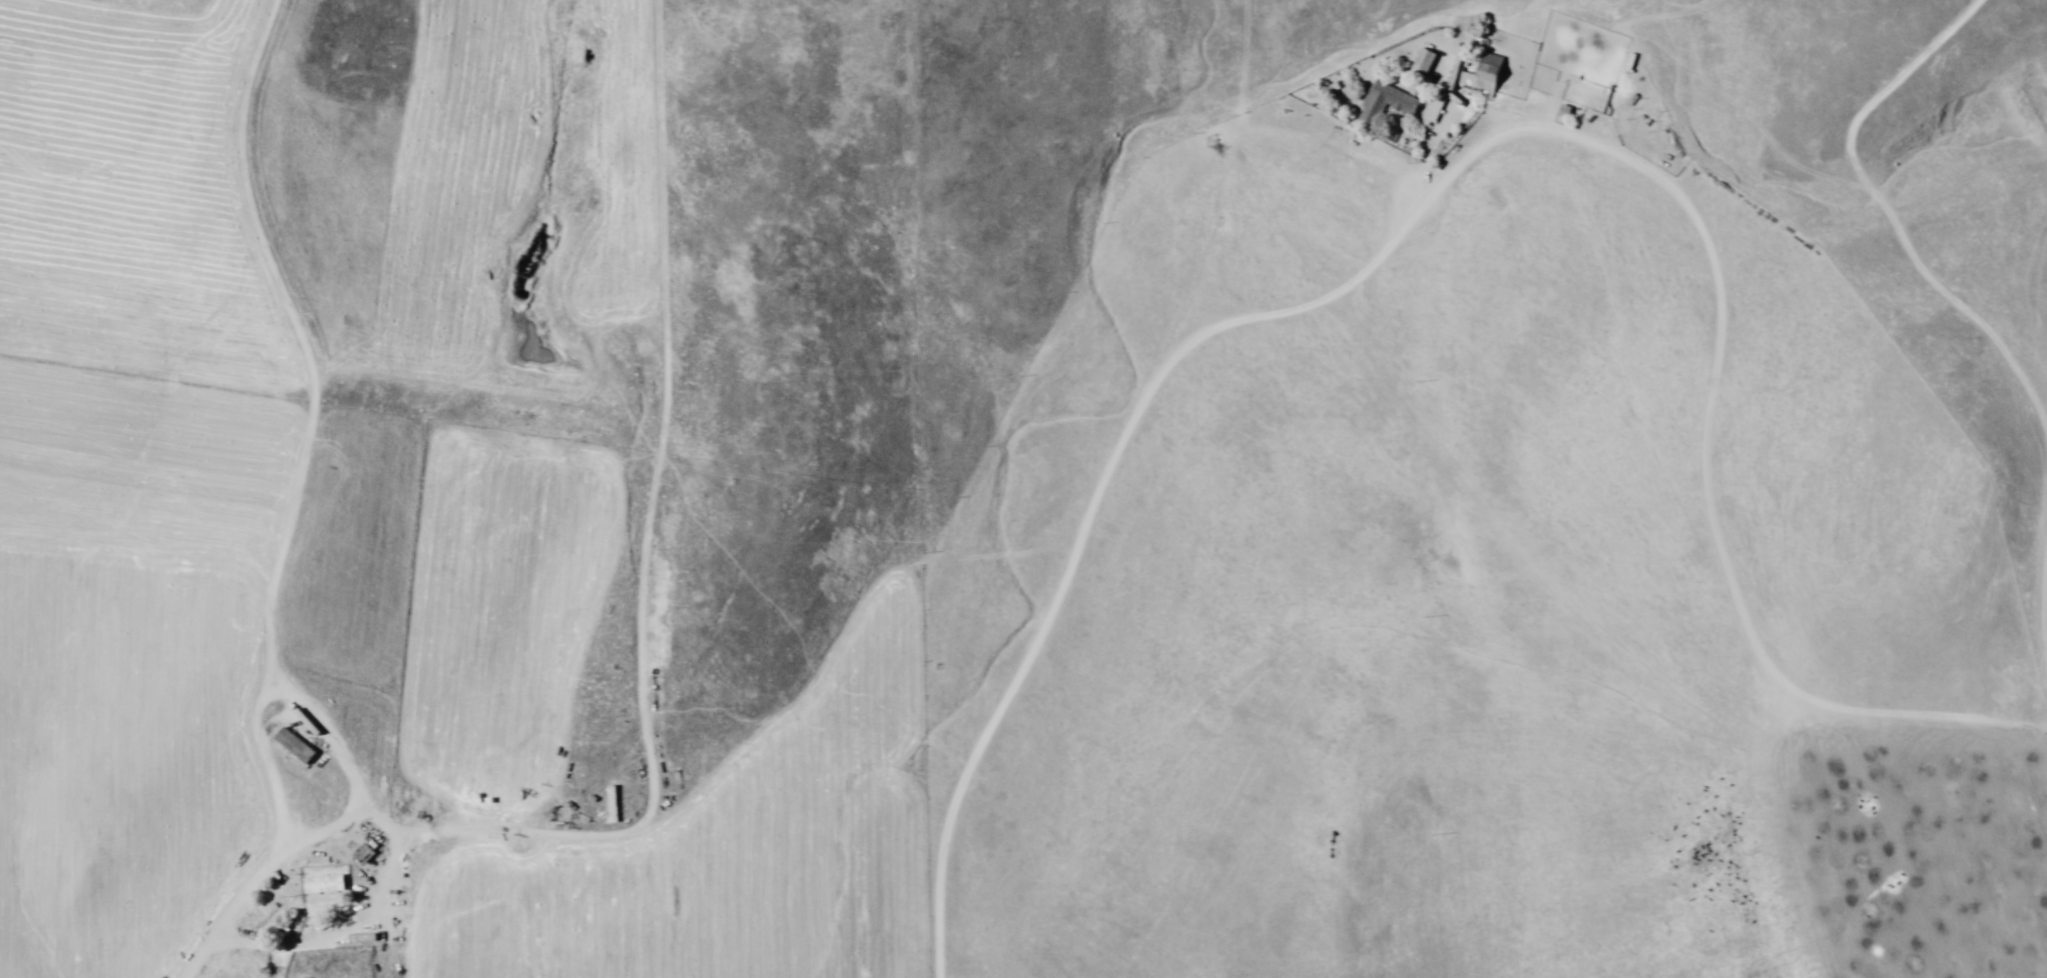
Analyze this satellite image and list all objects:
road: (1848, 14)
building: (1424, 62)
building: (1491, 72)
road: (1685, 102)
building: (1387, 103)
road: (1496, 226)
wastewater plant: (522, 320)
building: (298, 746)
road: (1769, 852)
building: (365, 853)

